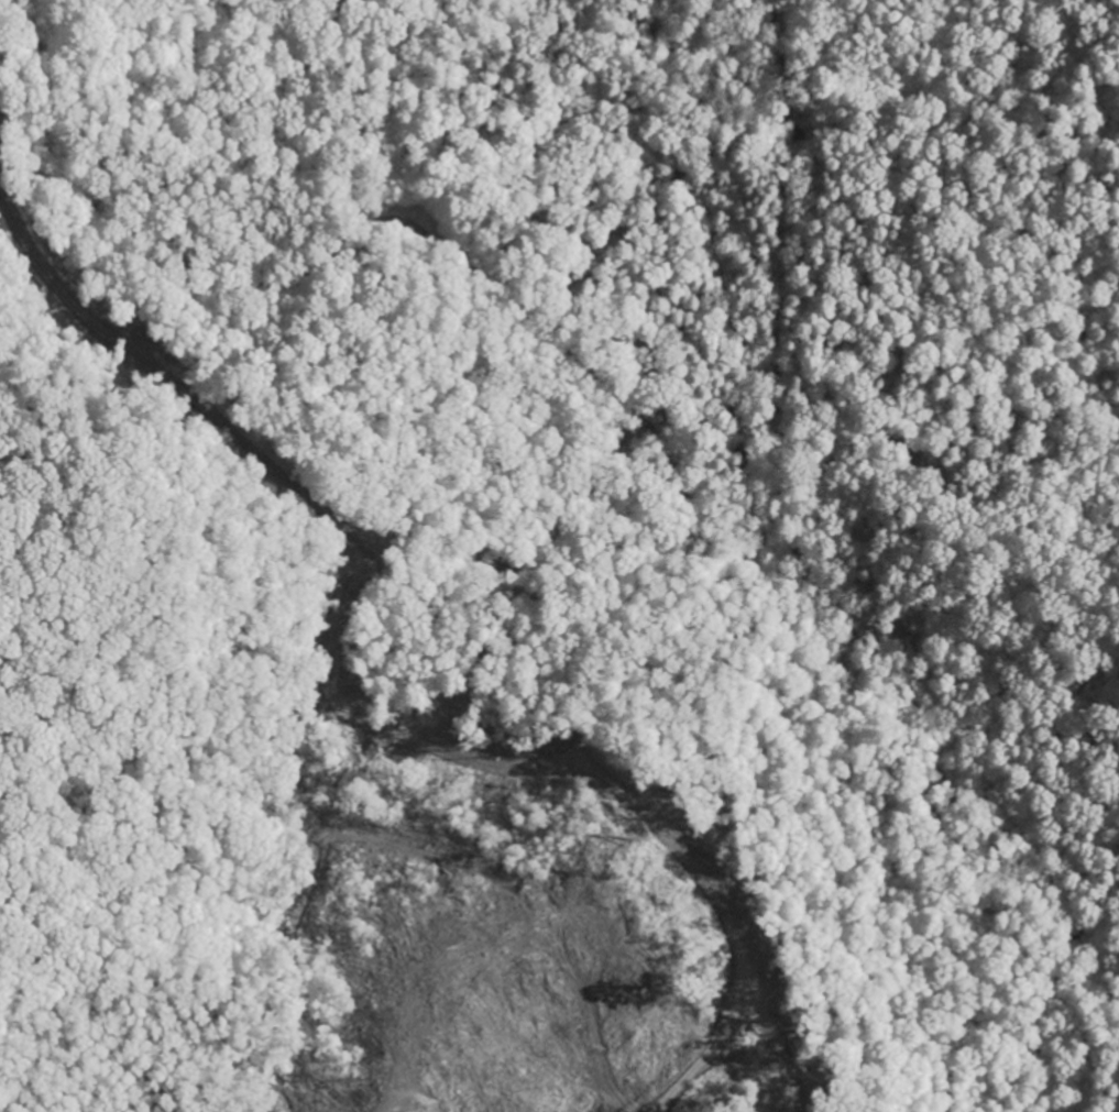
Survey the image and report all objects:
road: (552, 496)
road: (330, 773)

